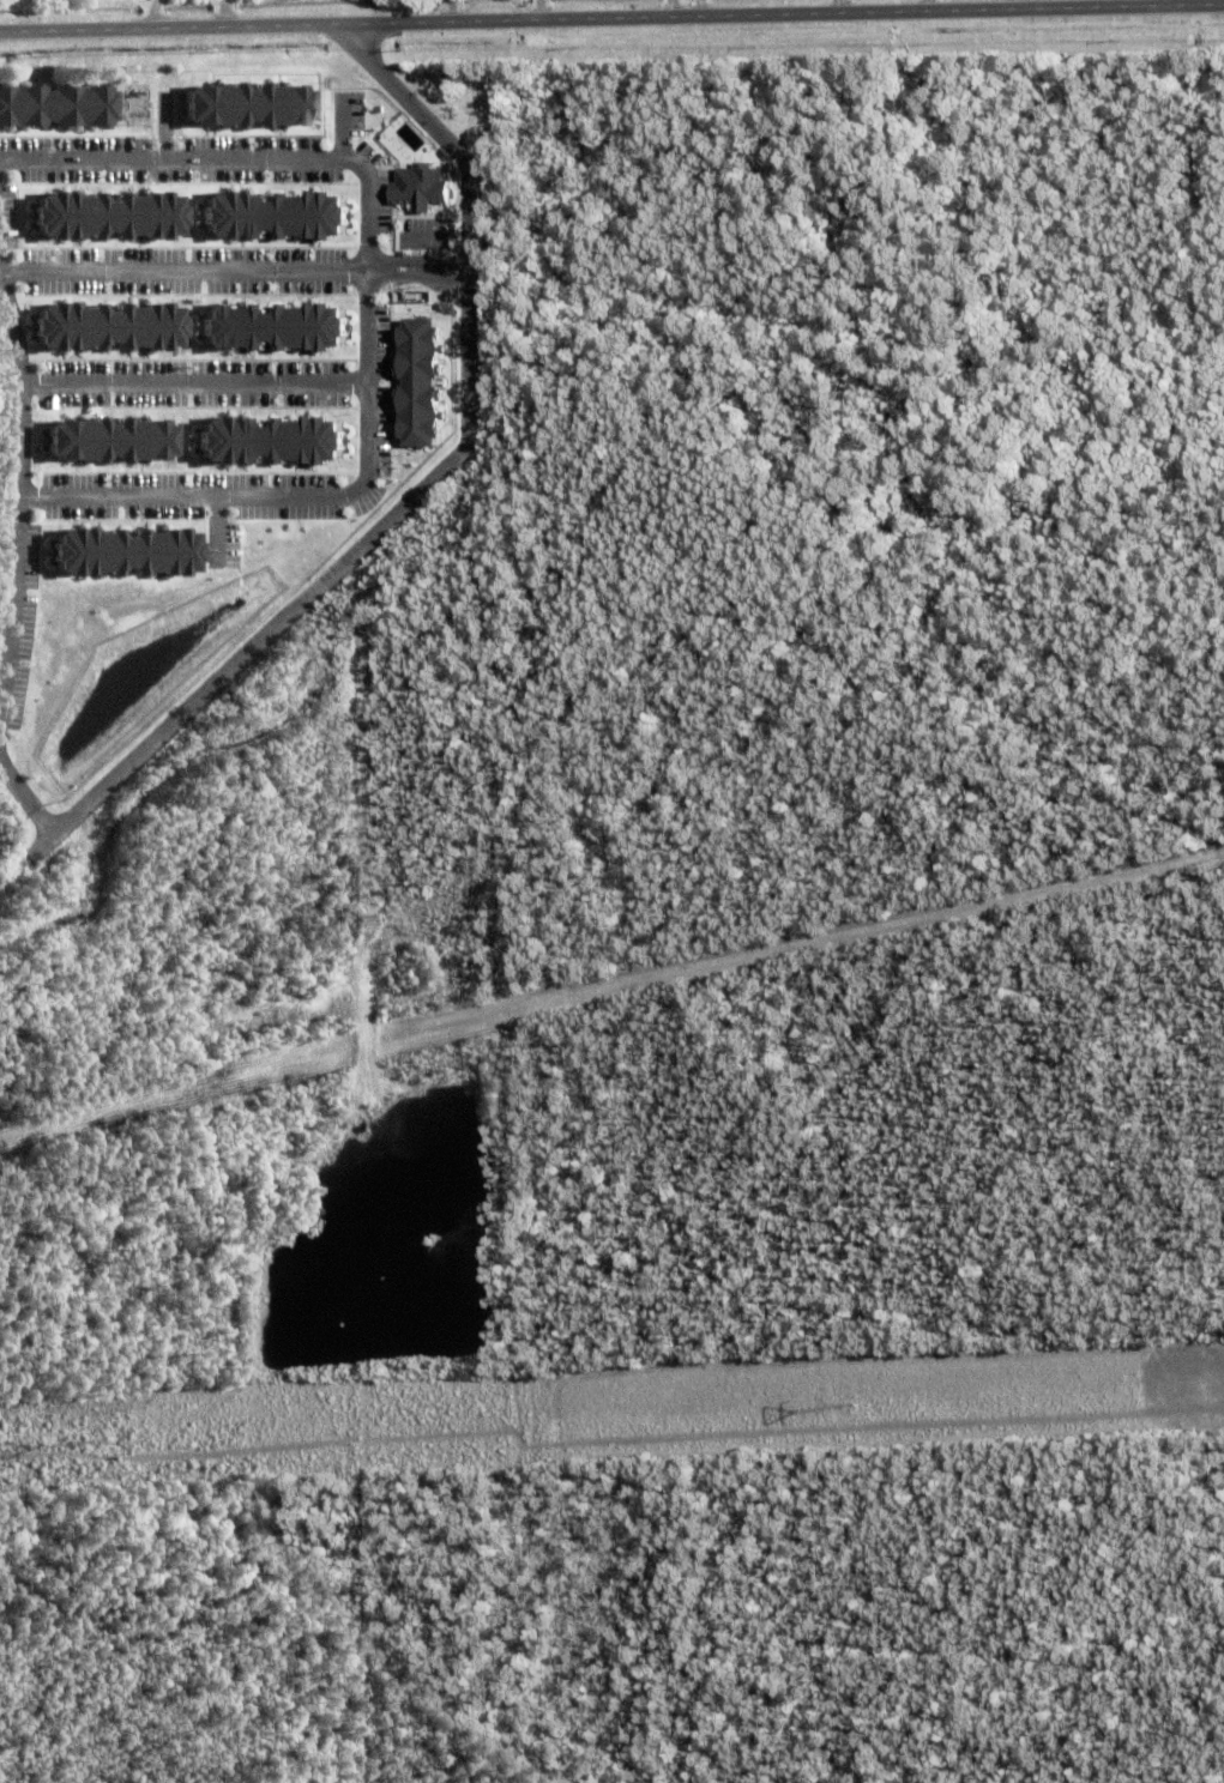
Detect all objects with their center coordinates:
road: (1148, 2)
road: (611, 16)
building: (240, 104)
building: (54, 105)
building: (415, 187)
building: (98, 216)
building: (266, 216)
road: (418, 261)
road: (186, 271)
road: (420, 277)
road: (369, 312)
building: (98, 327)
building: (264, 327)
road: (22, 373)
building: (415, 382)
road: (195, 383)
building: (101, 440)
building: (263, 441)
road: (420, 494)
building: (117, 552)
road: (10, 675)
power tower: (850, 1409)
power tower: (92, 1443)

